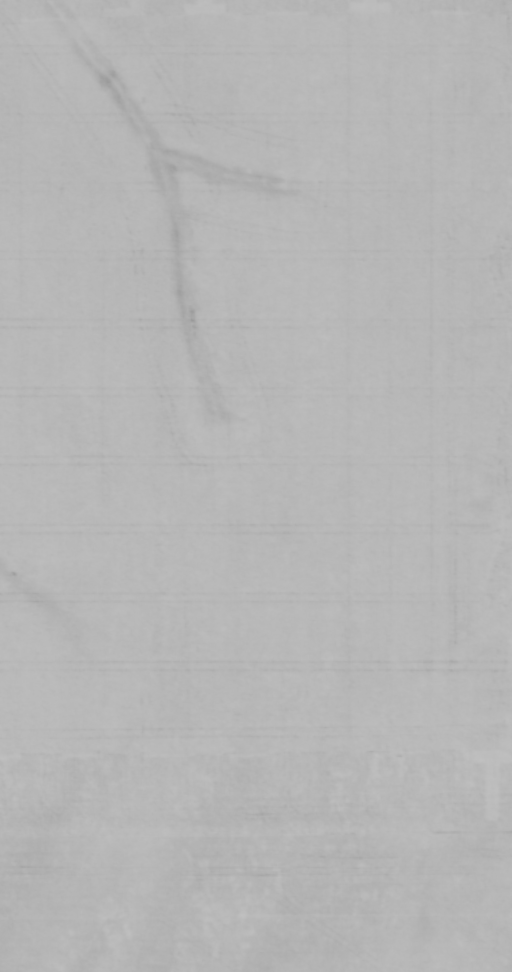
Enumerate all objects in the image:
crop: (255, 901)

